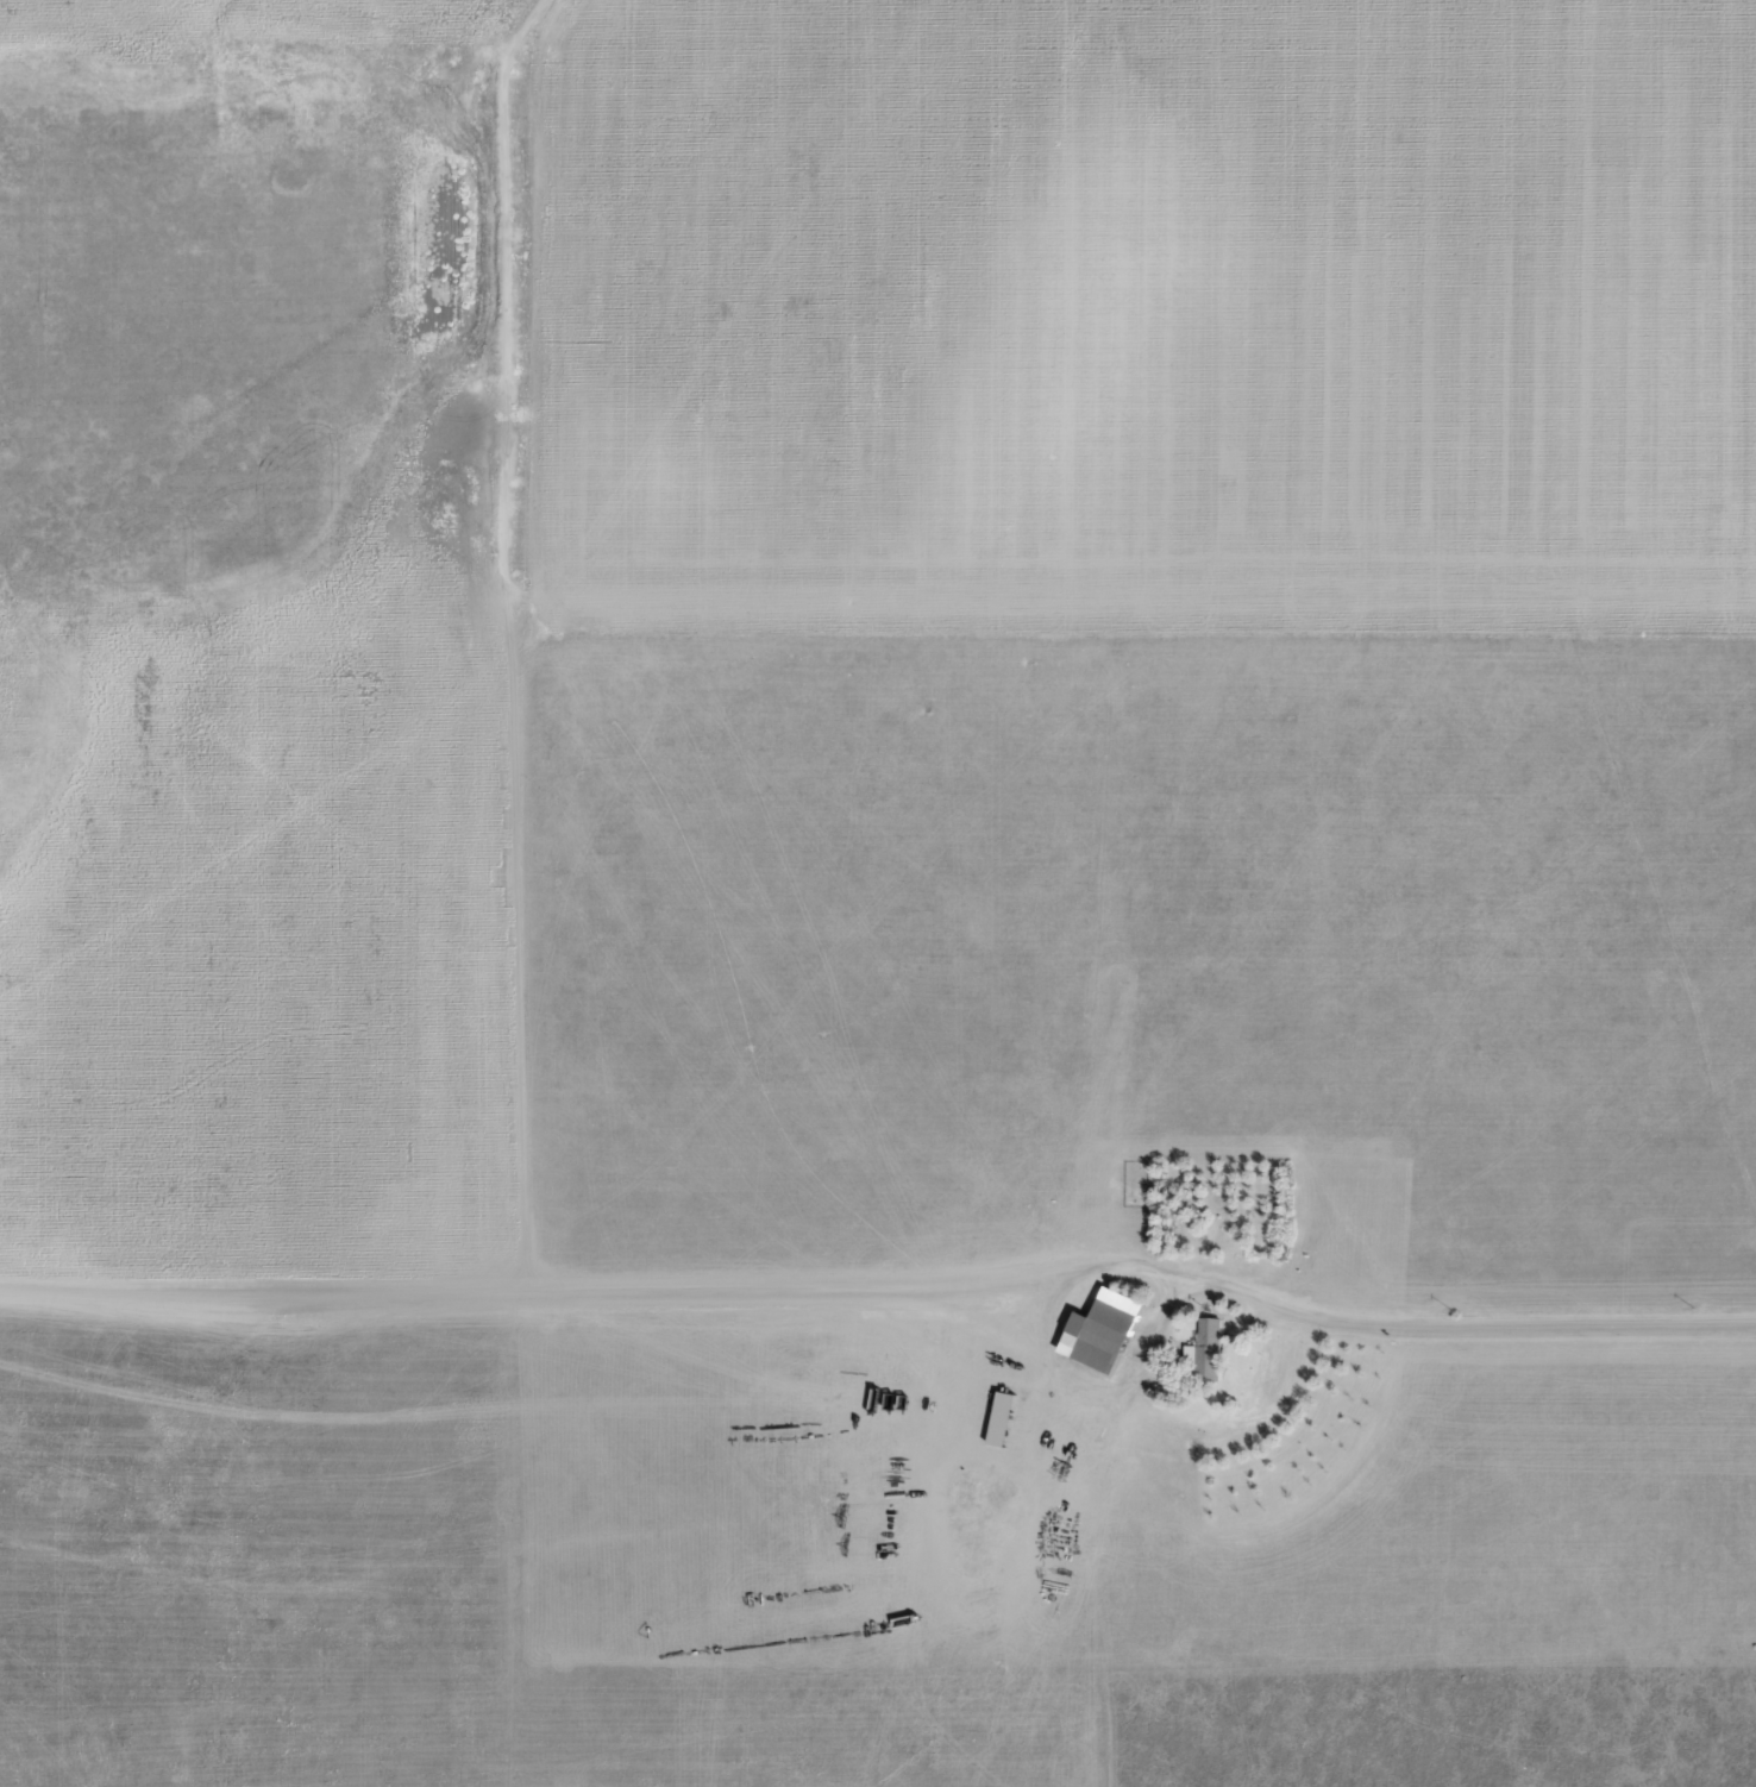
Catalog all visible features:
road: (1413, 1327)
building: (1104, 1335)
building: (1210, 1348)

